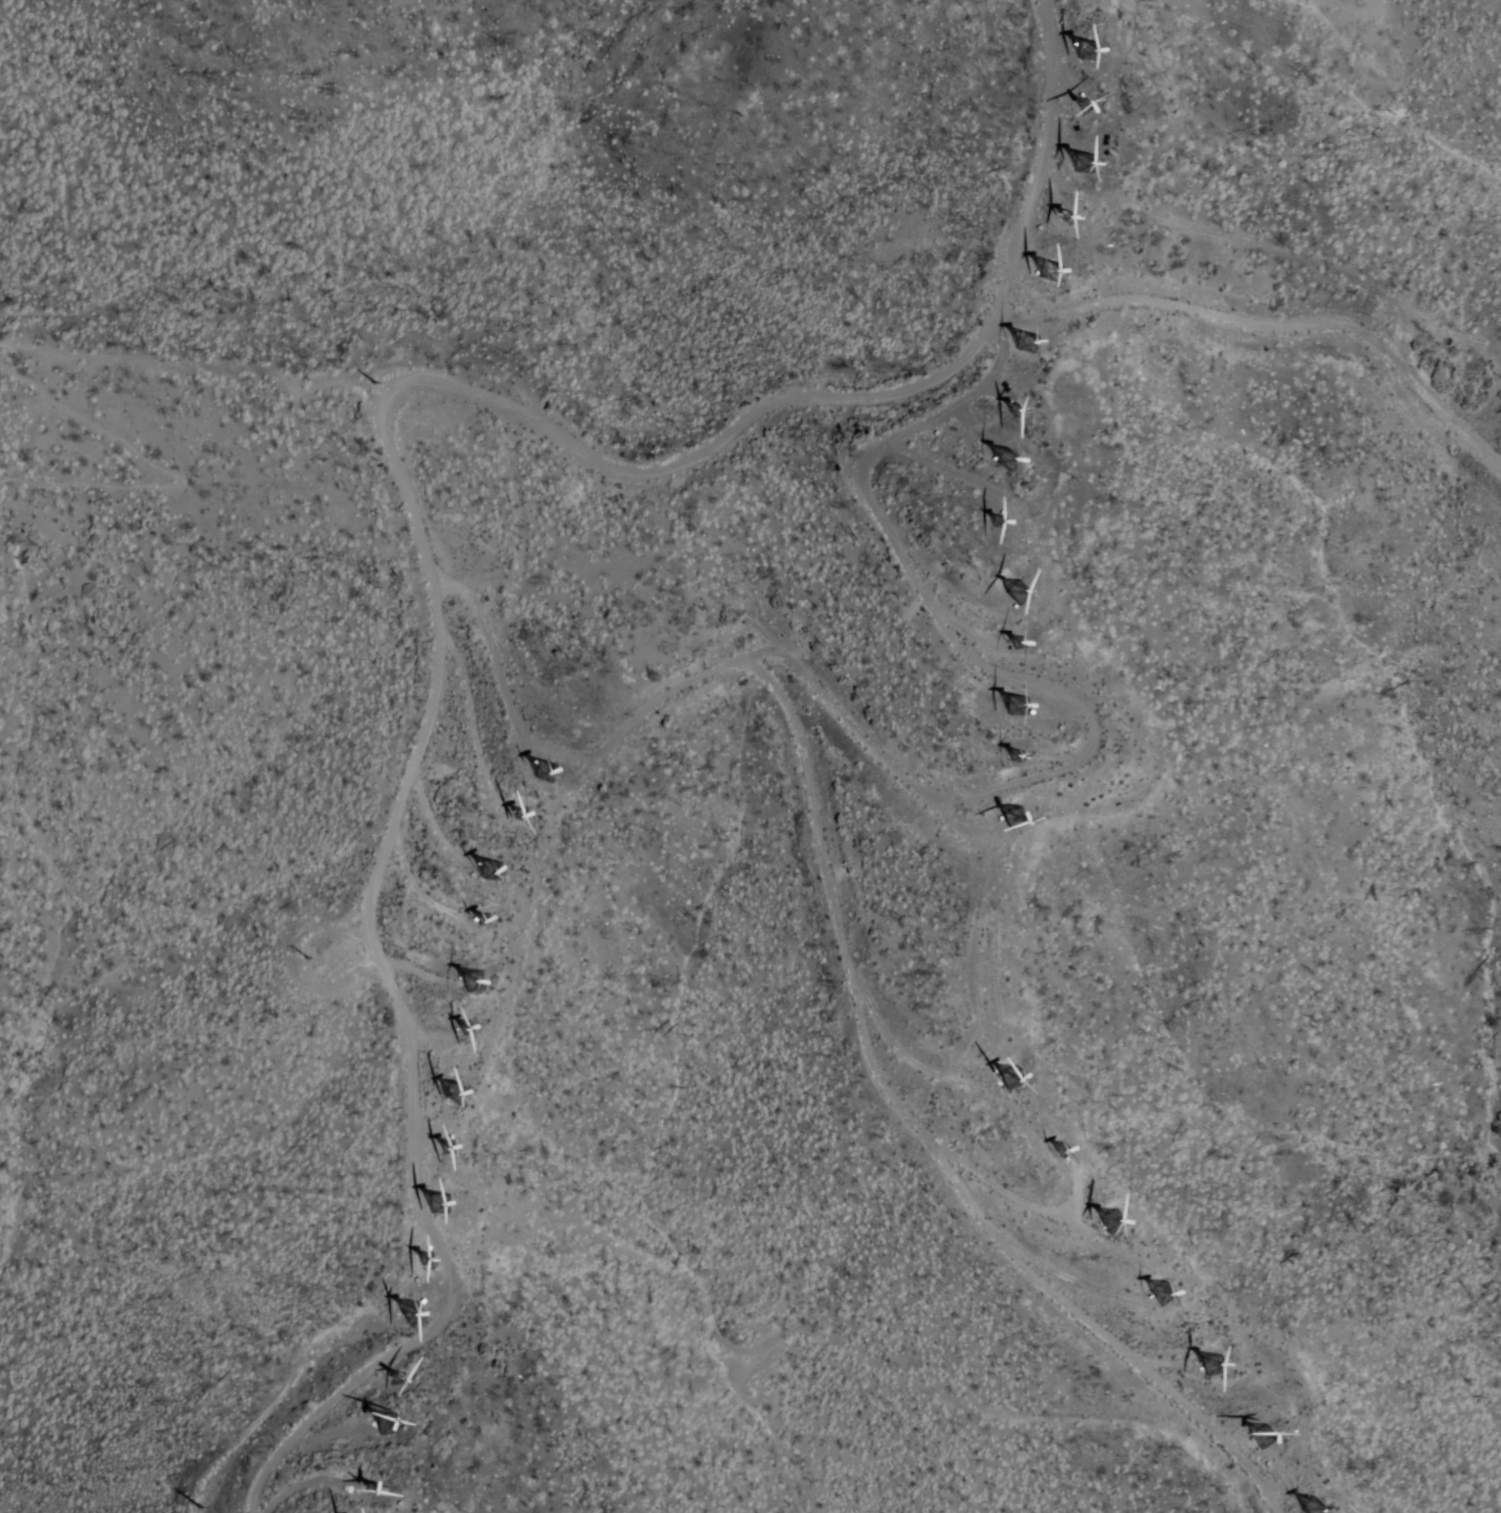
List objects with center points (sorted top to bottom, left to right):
wind turbine: (1085, 48)
wind turbine: (1081, 108)
building: (1084, 163)
wind turbine: (1079, 166)
road: (66, 205)
wind turbine: (1063, 221)
wind turbine: (1053, 271)
road: (1264, 319)
wind turbine: (1020, 343)
wind turbine: (1013, 414)
wind turbine: (1007, 466)
road: (173, 471)
road: (404, 509)
wind turbine: (995, 524)
wind turbine: (1018, 594)
wind turbine: (1015, 638)
wind turbine: (1017, 708)
wind turbine: (1013, 756)
wind turbine: (538, 769)
road: (966, 789)
wind turbine: (516, 813)
wind turbine: (1016, 817)
wind turbine: (487, 868)
building: (486, 870)
wind turbine: (479, 921)
wind turbine: (467, 977)
wind turbine: (461, 1022)
wind turbine: (1009, 1074)
building: (1011, 1079)
wind turbine: (451, 1092)
building: (455, 1093)
road: (927, 1135)
wind turbine: (445, 1146)
wind turbine: (1059, 1153)
wind turbine: (439, 1203)
wind turbine: (1105, 1214)
wind turbine: (420, 1258)
wind turbine: (1158, 1293)
wind turbine: (410, 1309)
building: (412, 1314)
wind turbine: (1204, 1365)
wind turbine: (397, 1375)
wind turbine: (386, 1423)
building: (1263, 1437)
wind turbine: (1258, 1440)
wind turbine: (373, 1487)
wind turbine: (1310, 1508)

